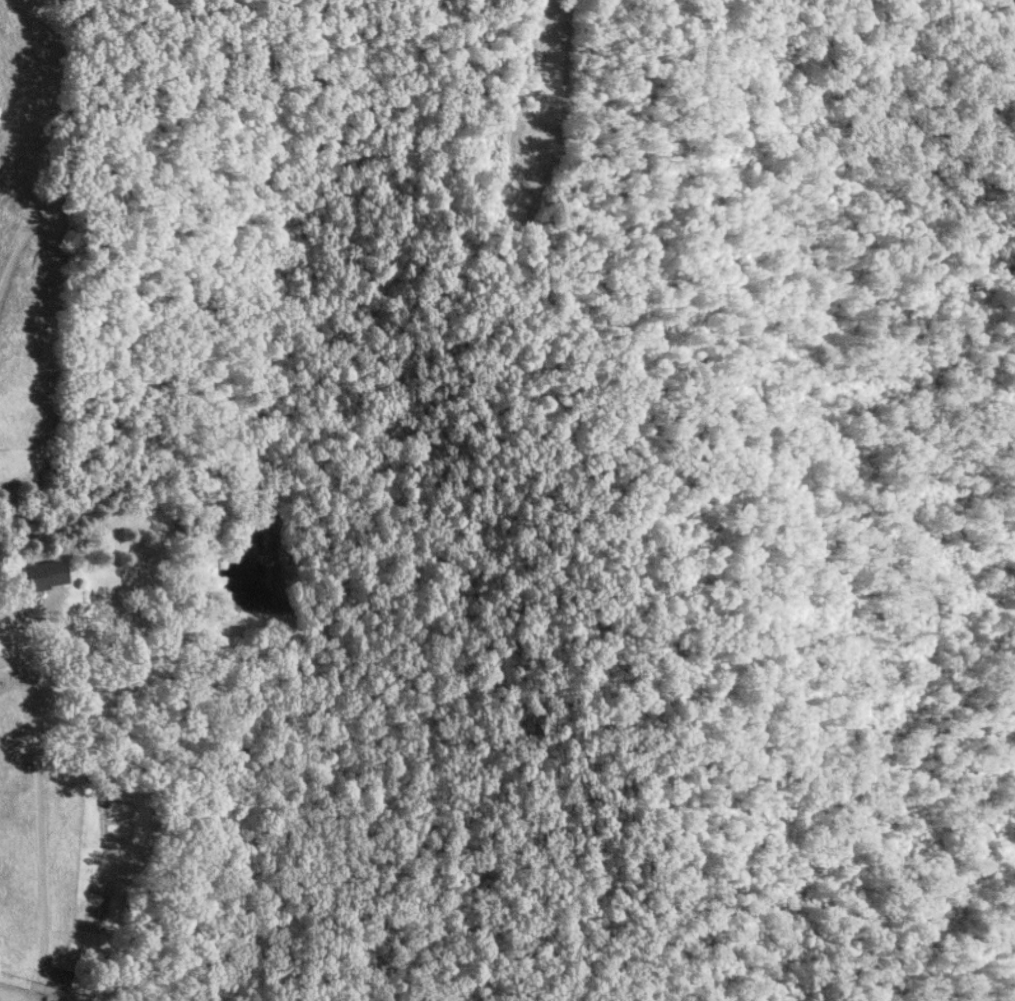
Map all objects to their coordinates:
road: (48, 144)
building: (41, 575)

